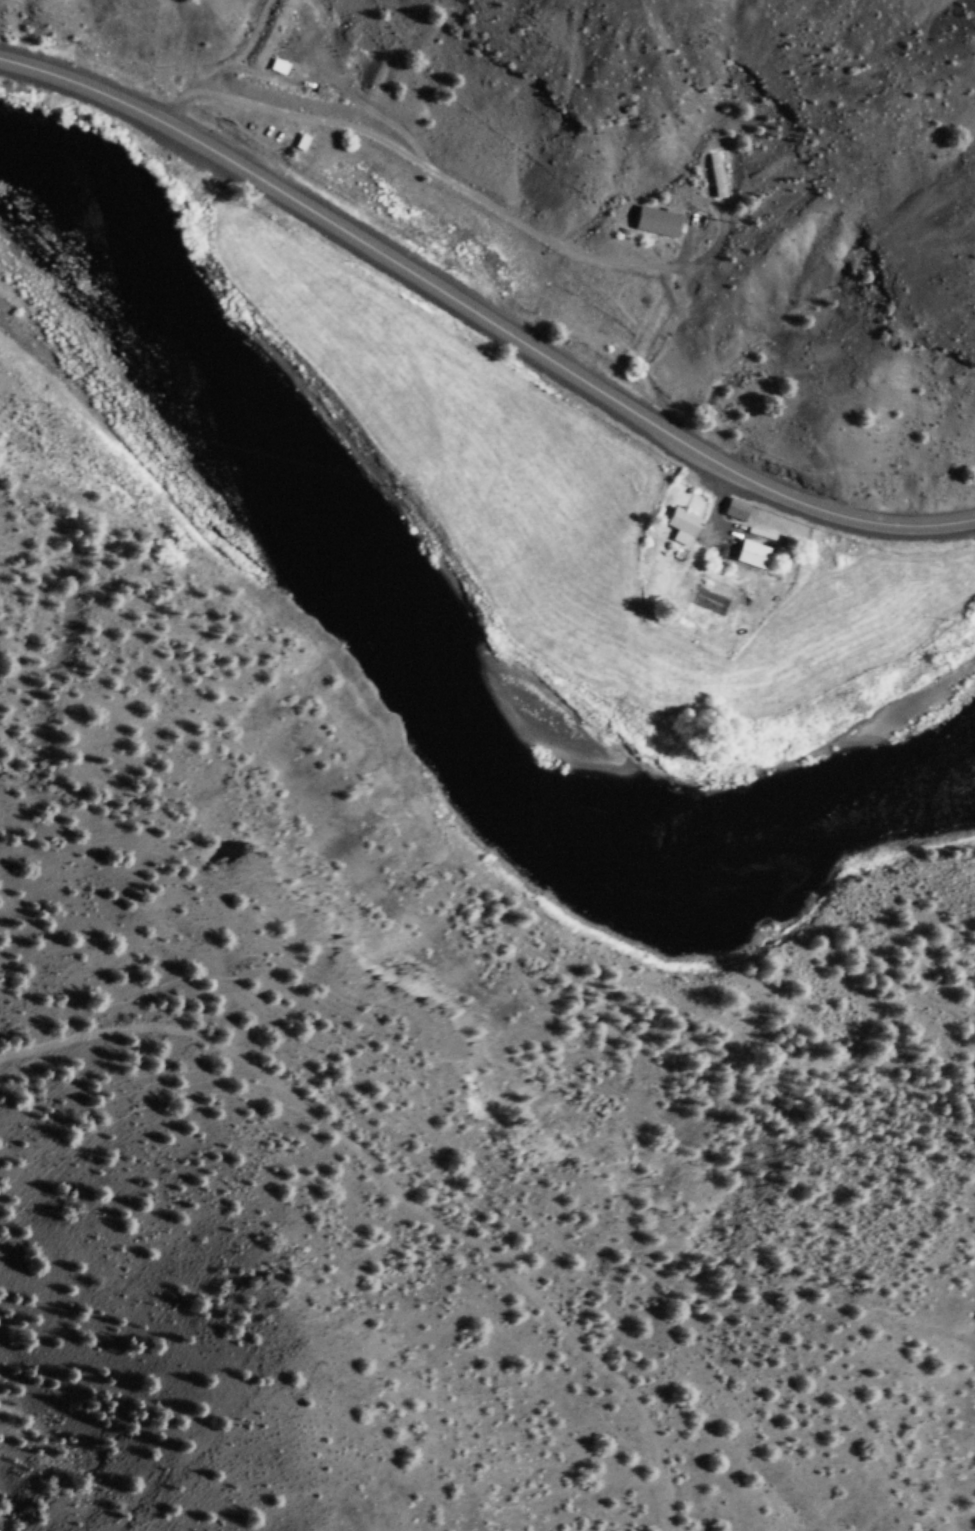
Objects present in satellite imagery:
building: (308, 143)
building: (721, 176)
building: (663, 222)
road: (482, 317)
building: (742, 510)
building: (689, 527)
building: (800, 544)
building: (759, 554)
river: (417, 688)

